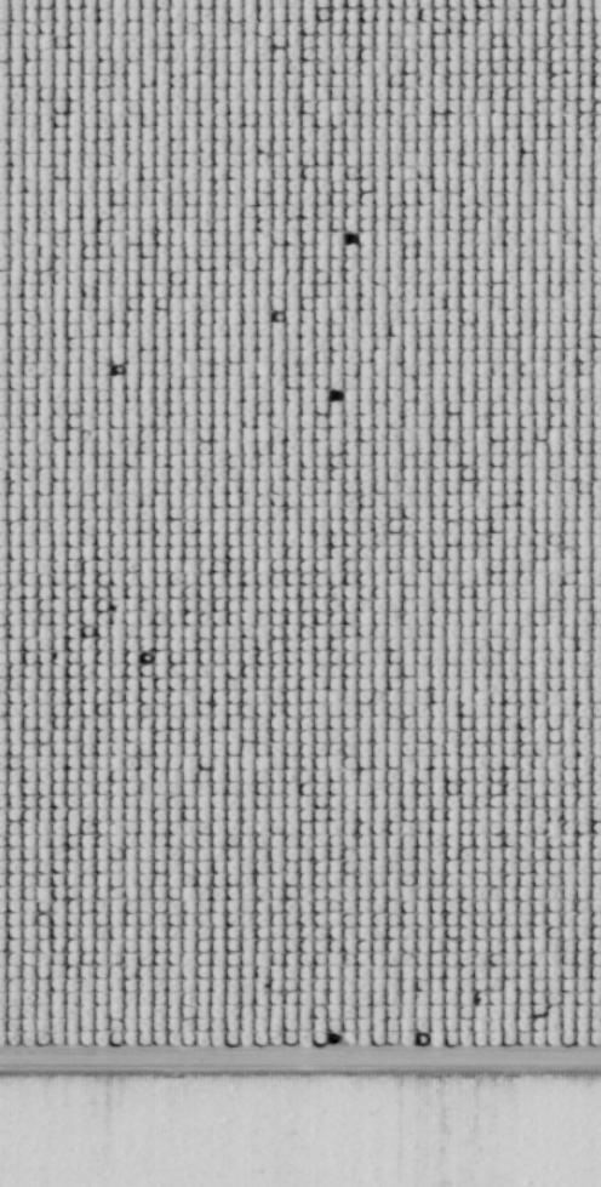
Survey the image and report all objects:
road: (300, 1056)
crop: (302, 1132)

